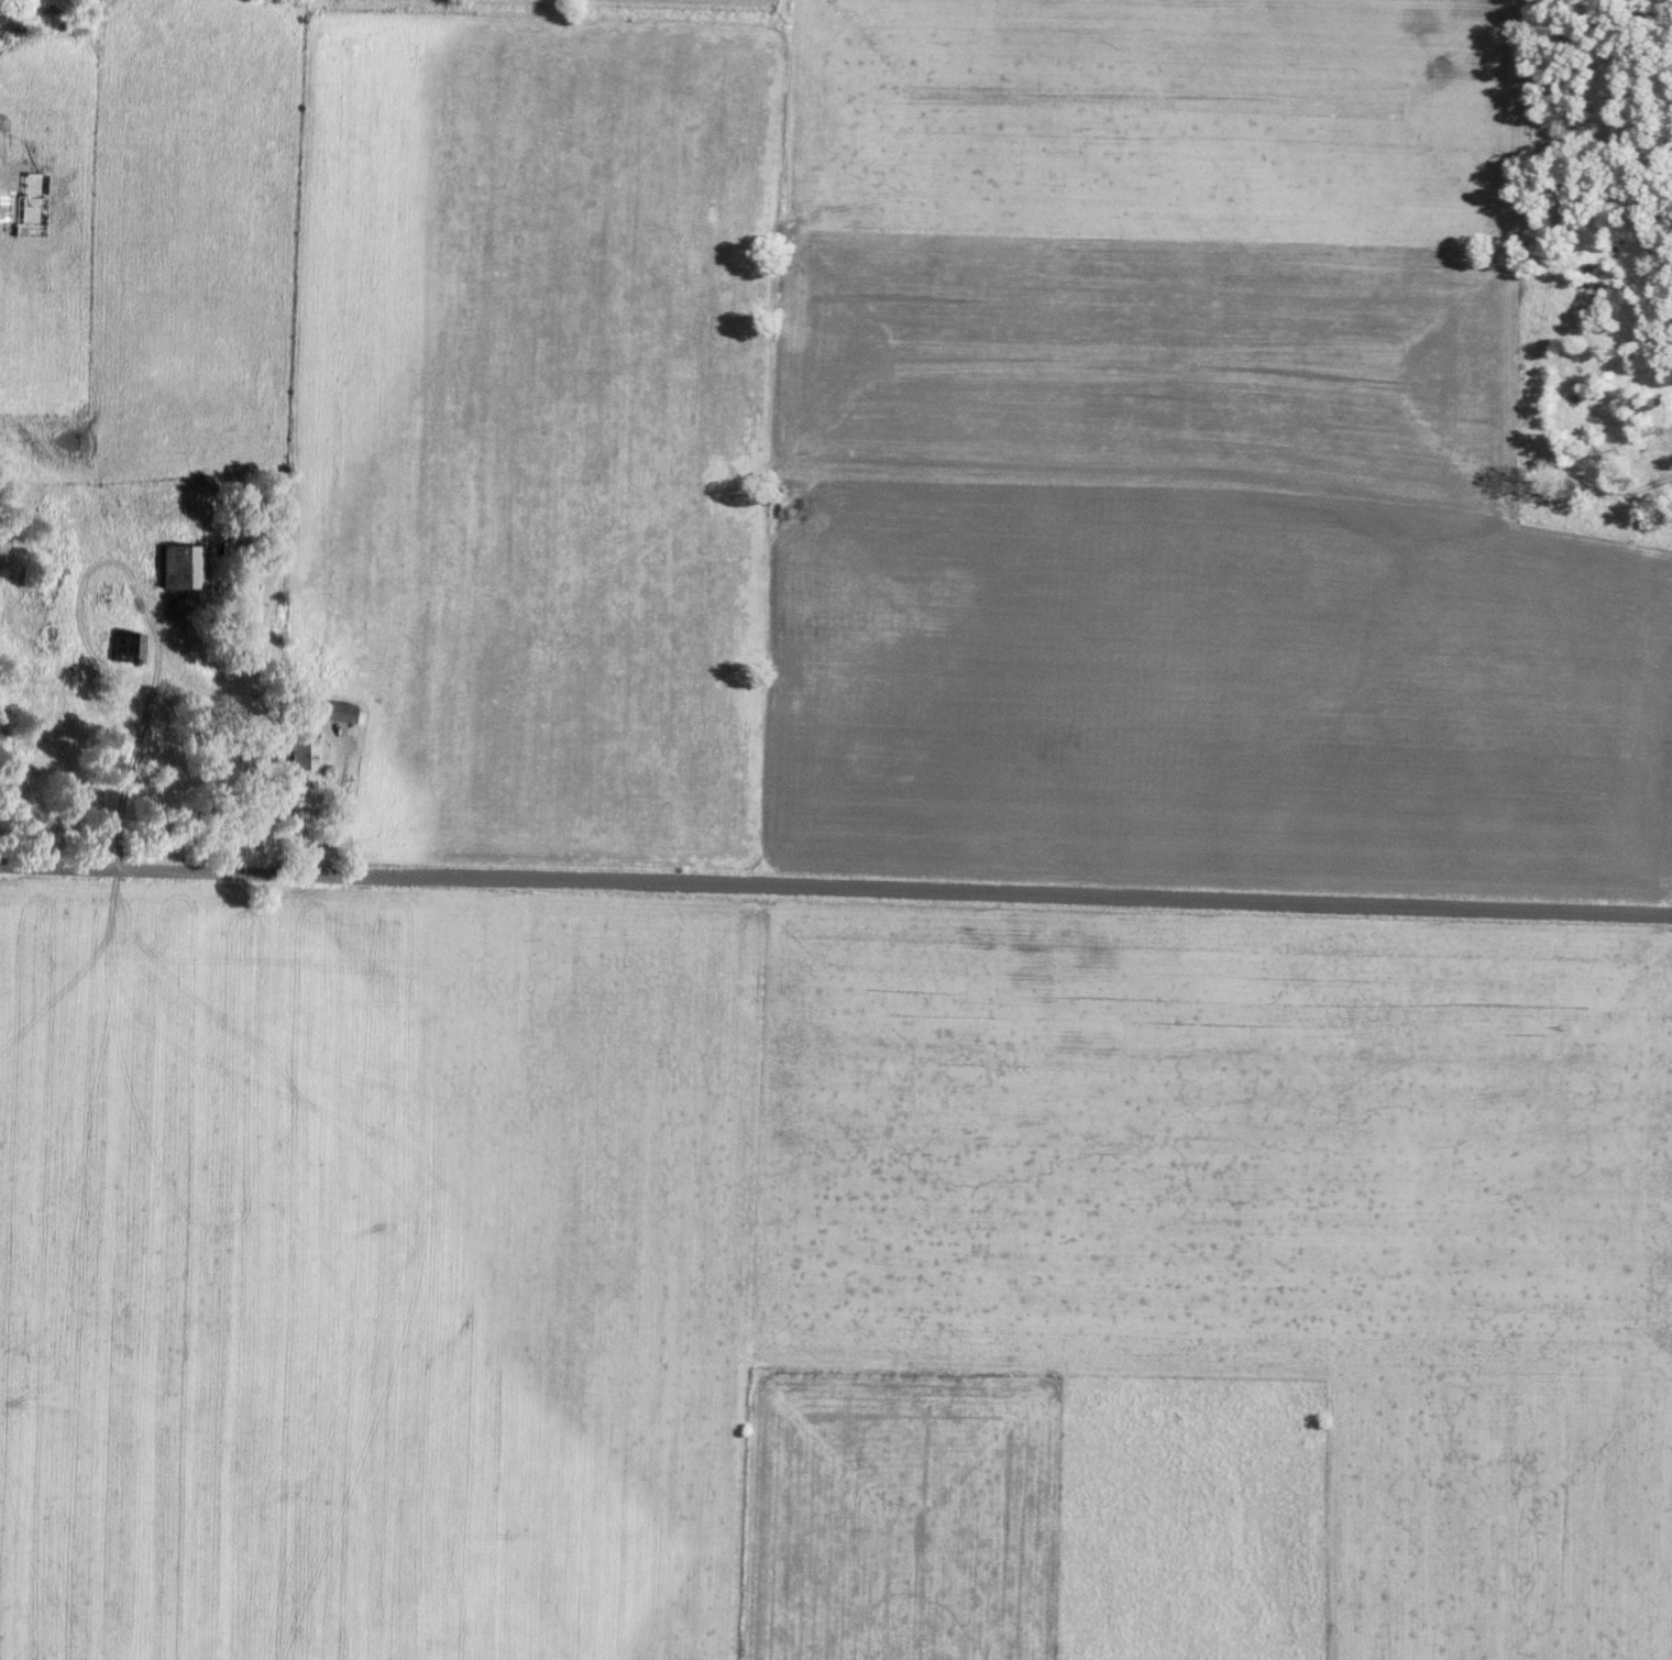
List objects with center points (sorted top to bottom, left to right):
building: (107, 503)
building: (185, 565)
building: (129, 646)
building: (341, 711)
building: (304, 750)
road: (330, 799)
road: (836, 888)

